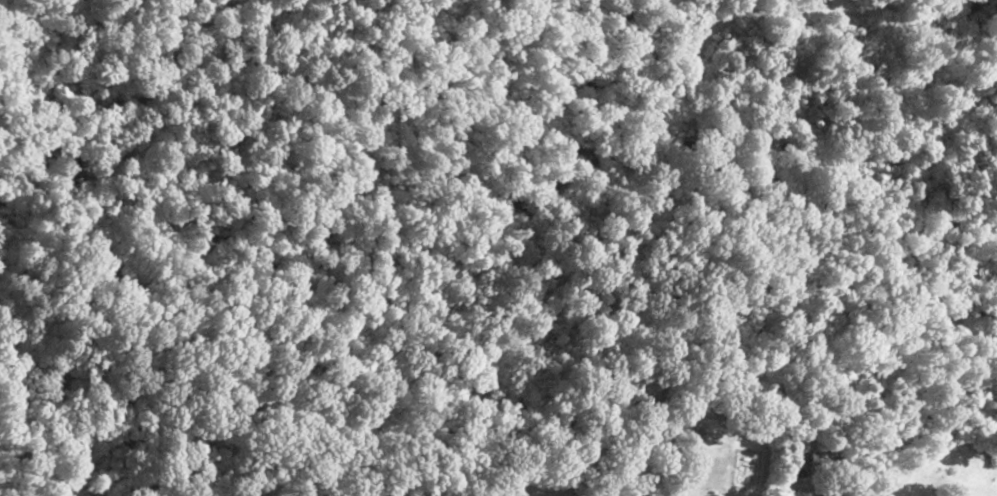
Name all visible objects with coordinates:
road: (224, 252)
building: (693, 434)
building: (689, 459)
building: (814, 463)

